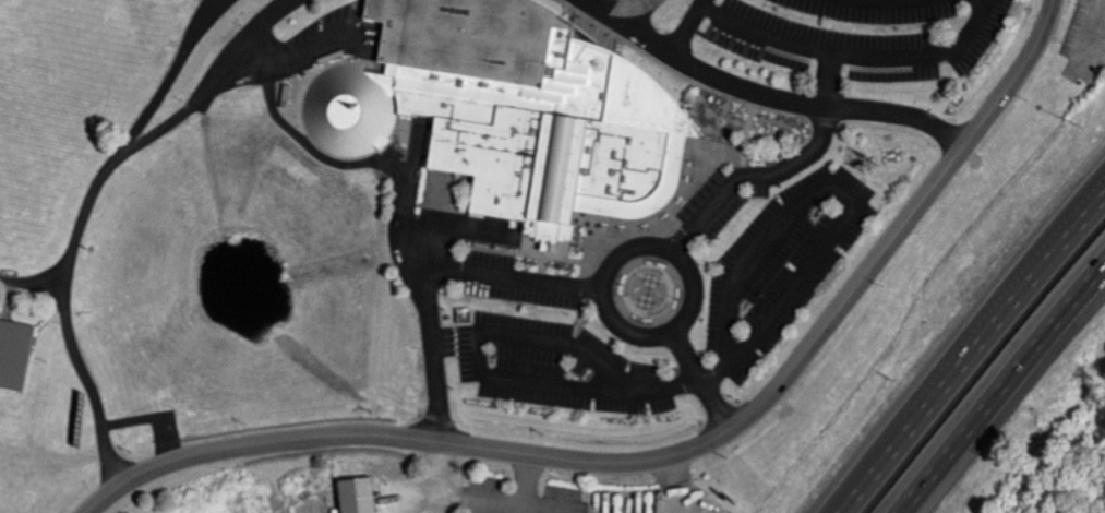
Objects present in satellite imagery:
road: (701, 3)
road: (621, 10)
road: (685, 31)
parking lot: (857, 35)
road: (854, 57)
road: (166, 83)
road: (767, 96)
building: (505, 116)
road: (778, 172)
road: (403, 188)
building: (713, 198)
road: (1088, 200)
road: (86, 203)
road: (624, 253)
road: (513, 278)
parking lot: (766, 286)
road: (32, 287)
road: (965, 347)
building: (12, 353)
road: (721, 369)
road: (700, 382)
road: (1009, 397)
road: (25, 413)
building: (74, 416)
road: (50, 421)
road: (11, 453)
road: (672, 456)
road: (64, 460)
road: (439, 477)
road: (527, 480)
road: (16, 484)
road: (59, 486)
building: (350, 496)
road: (483, 501)
road: (5, 506)

